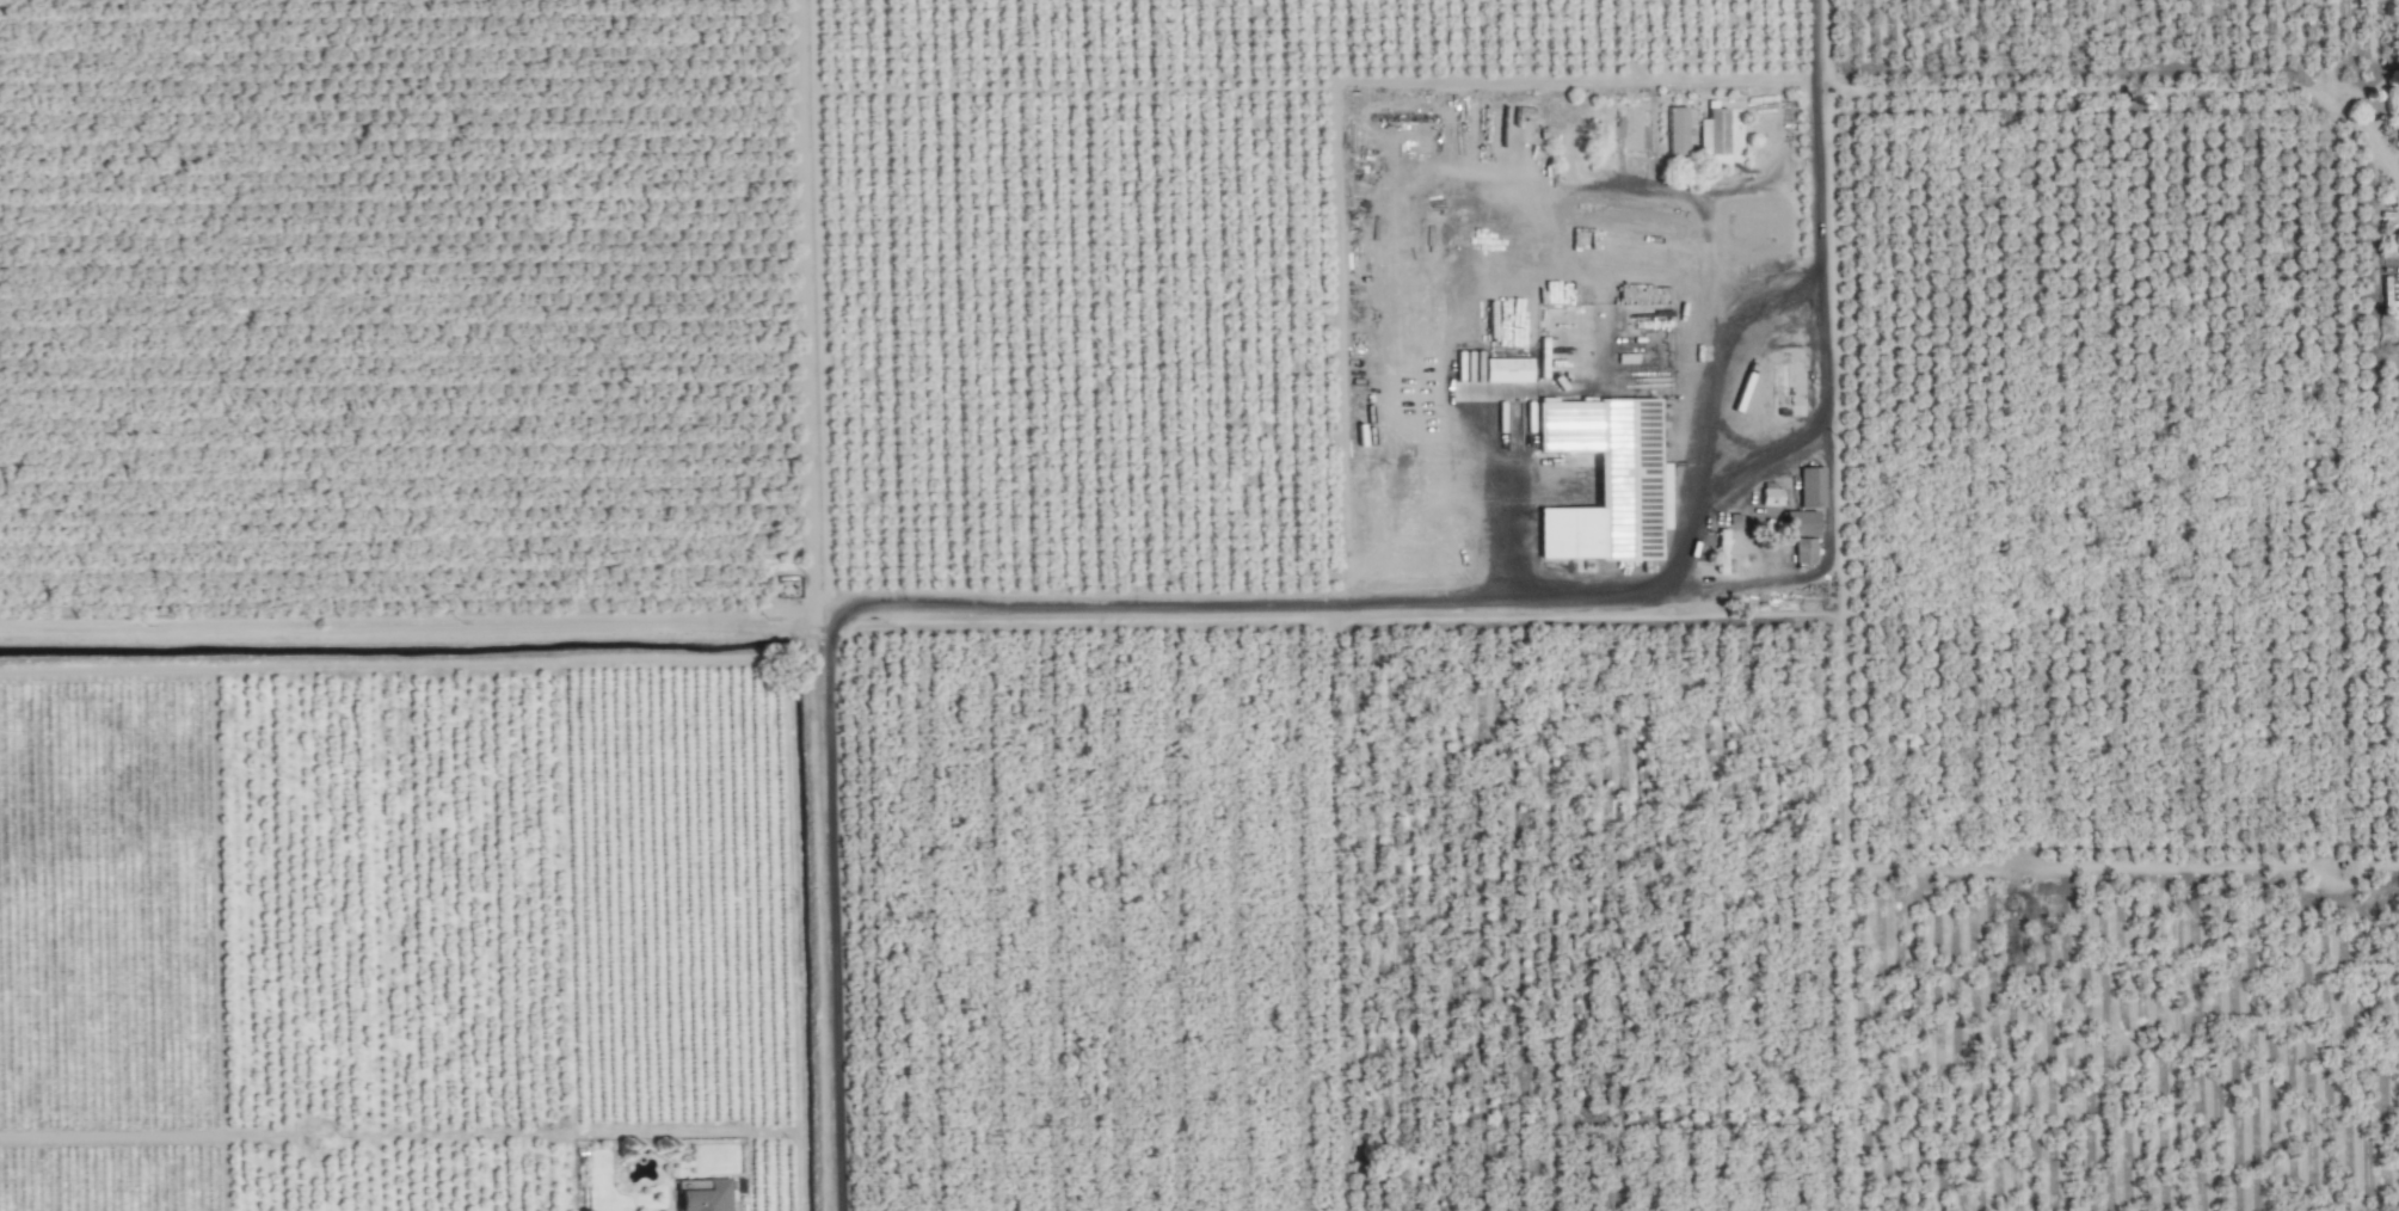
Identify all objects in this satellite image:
building: (2368, 110)
building: (1631, 134)
building: (1674, 134)
building: (1712, 134)
building: (1753, 229)
building: (1503, 374)
road: (1825, 410)
building: (1601, 482)
building: (1808, 492)
building: (1769, 499)
building: (1800, 539)
road: (1265, 605)
road: (414, 635)
building: (697, 1197)

